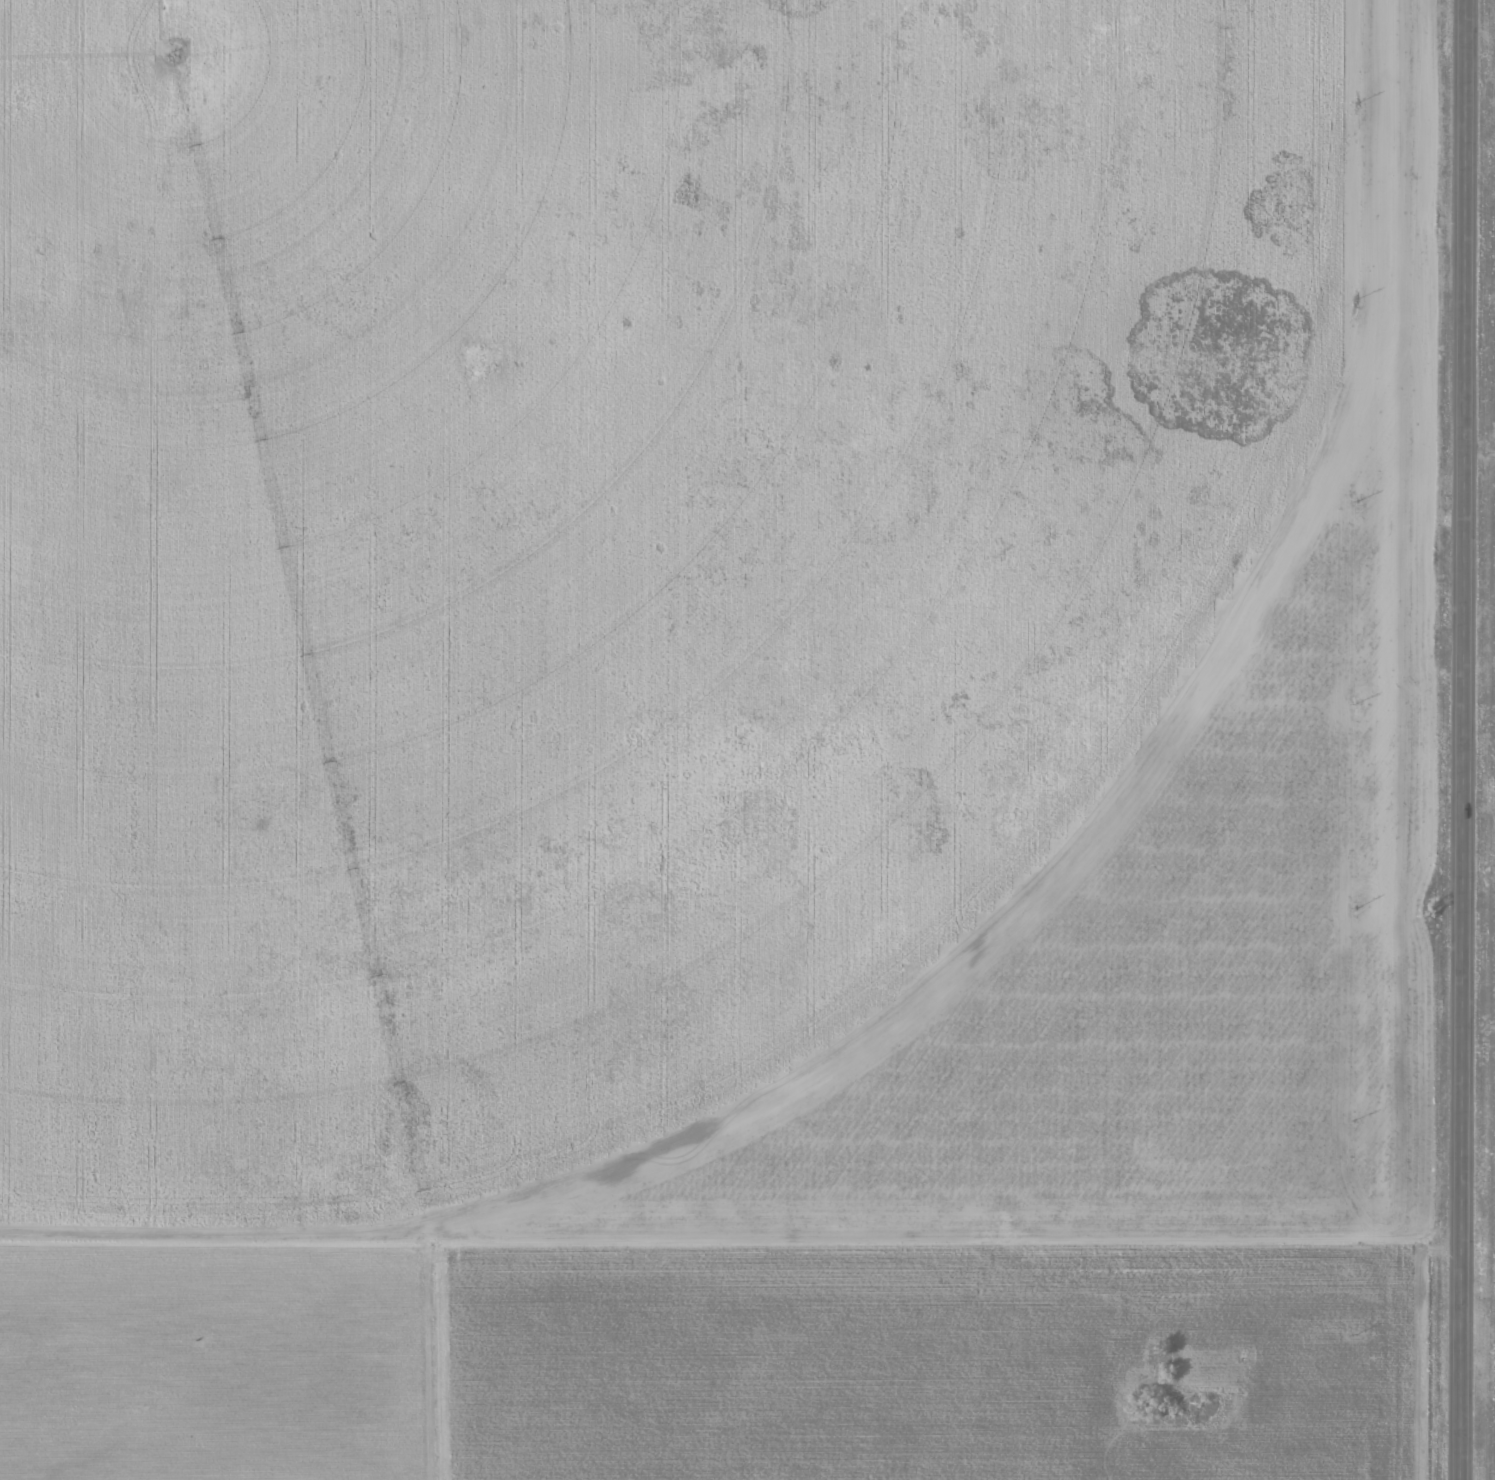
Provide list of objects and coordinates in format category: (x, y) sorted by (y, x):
road: (1467, 740)

